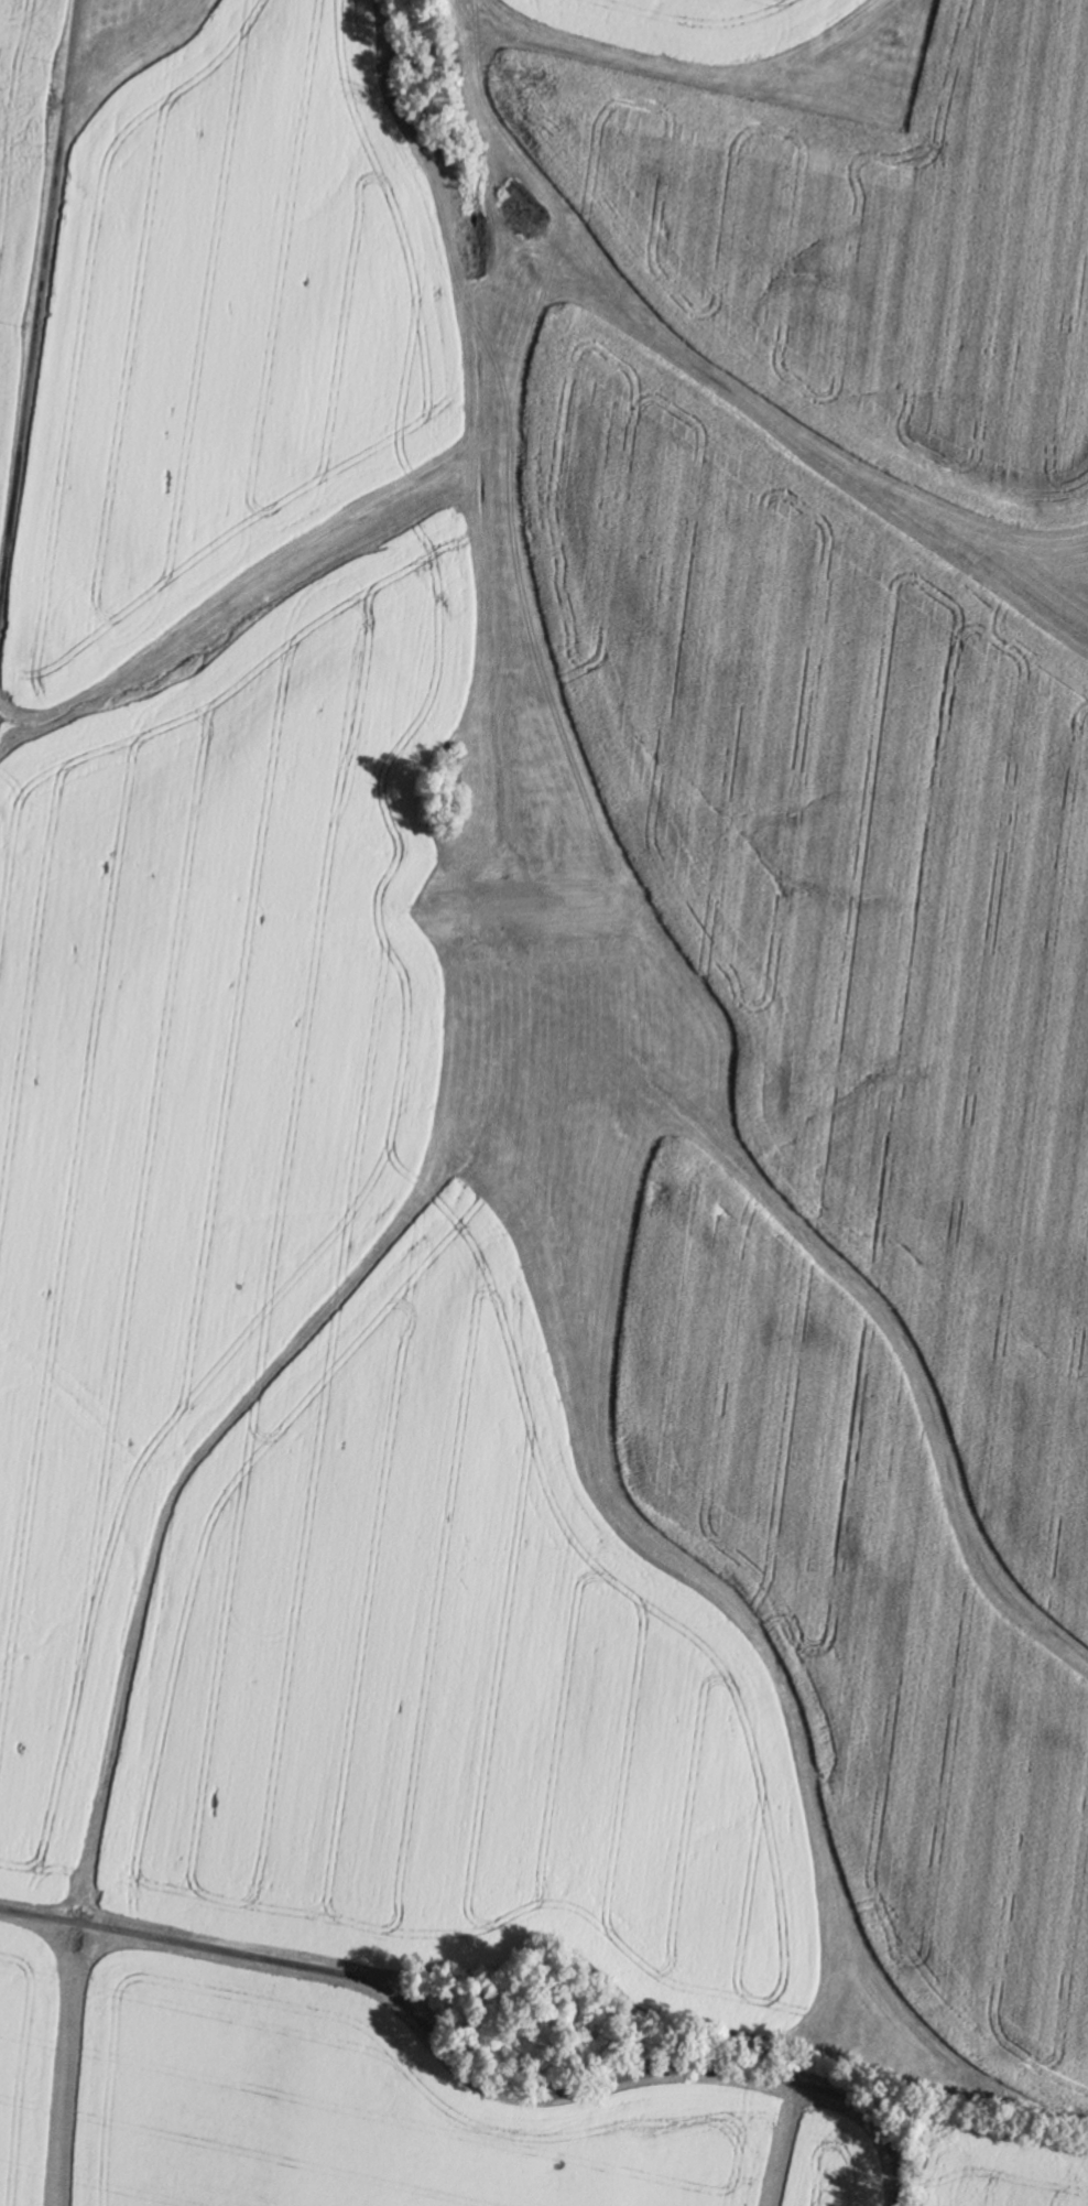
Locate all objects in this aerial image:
road: (41, 313)
road: (469, 2073)

